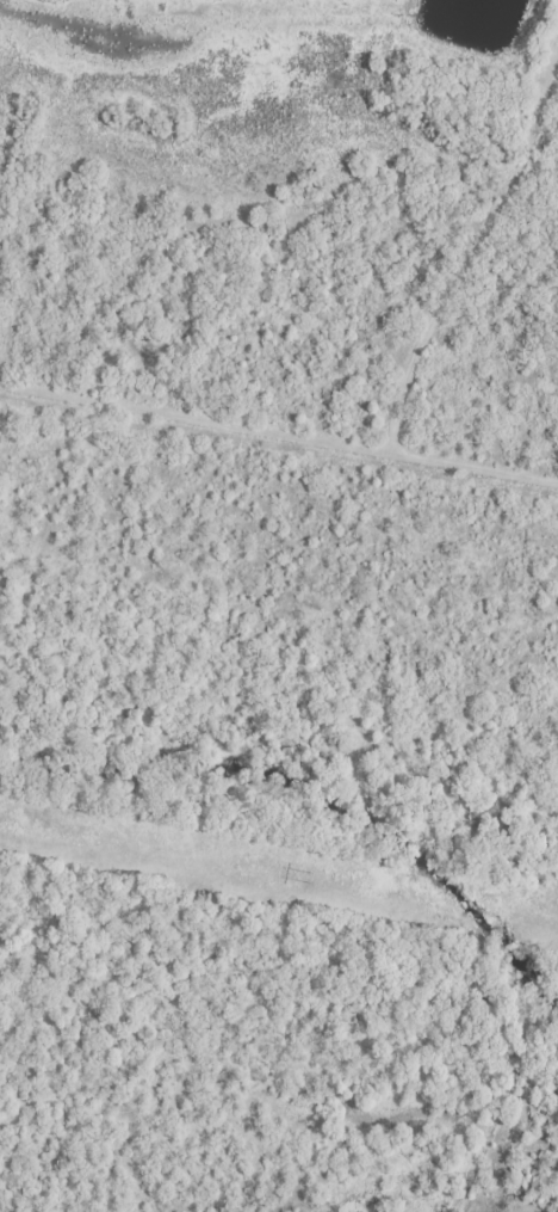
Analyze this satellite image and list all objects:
power tower: (310, 880)

